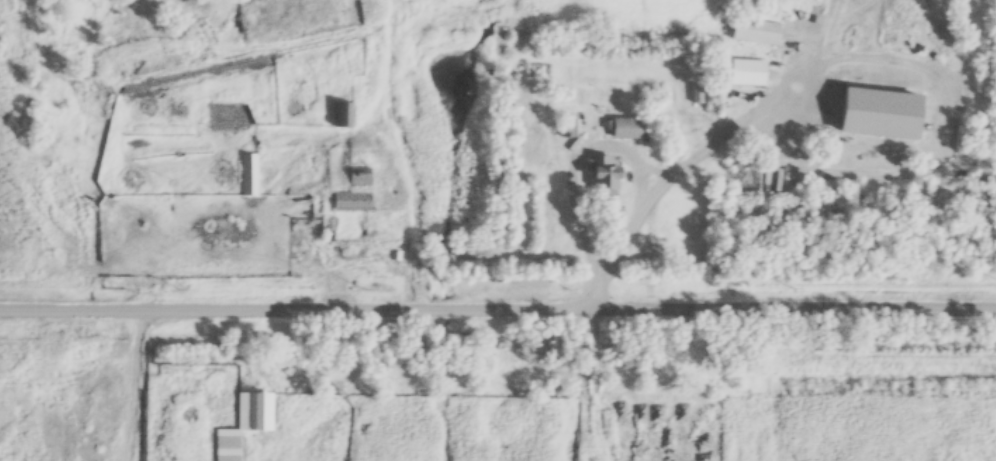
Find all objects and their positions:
building: (754, 33)
road: (913, 66)
building: (746, 74)
building: (341, 116)
building: (566, 129)
building: (625, 130)
road: (593, 143)
building: (247, 176)
building: (603, 177)
building: (357, 179)
building: (350, 202)
road: (498, 304)
building: (238, 427)

